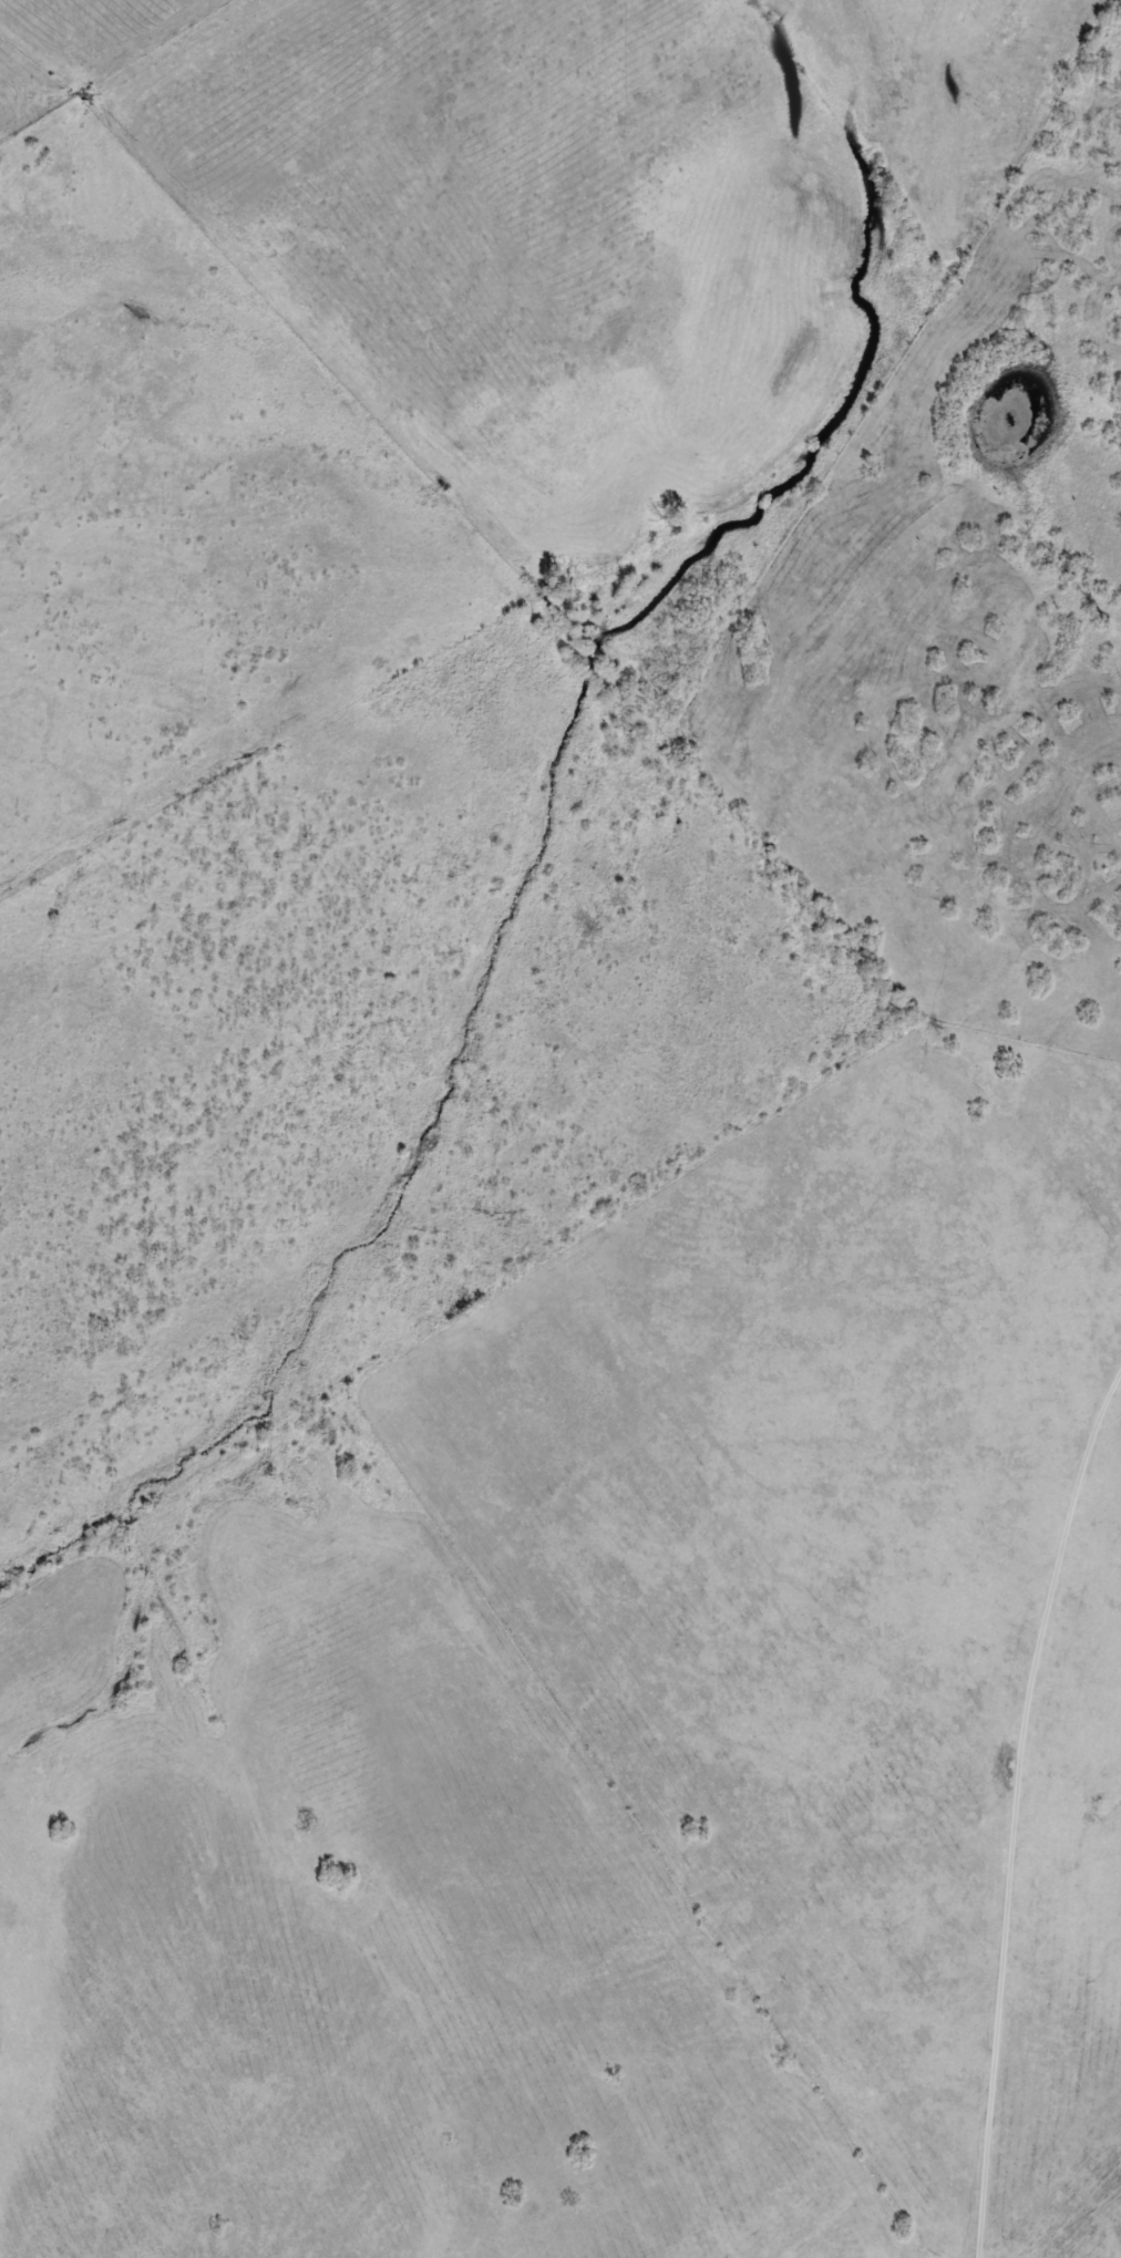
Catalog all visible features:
road: (1017, 1806)
building: (970, 1817)

